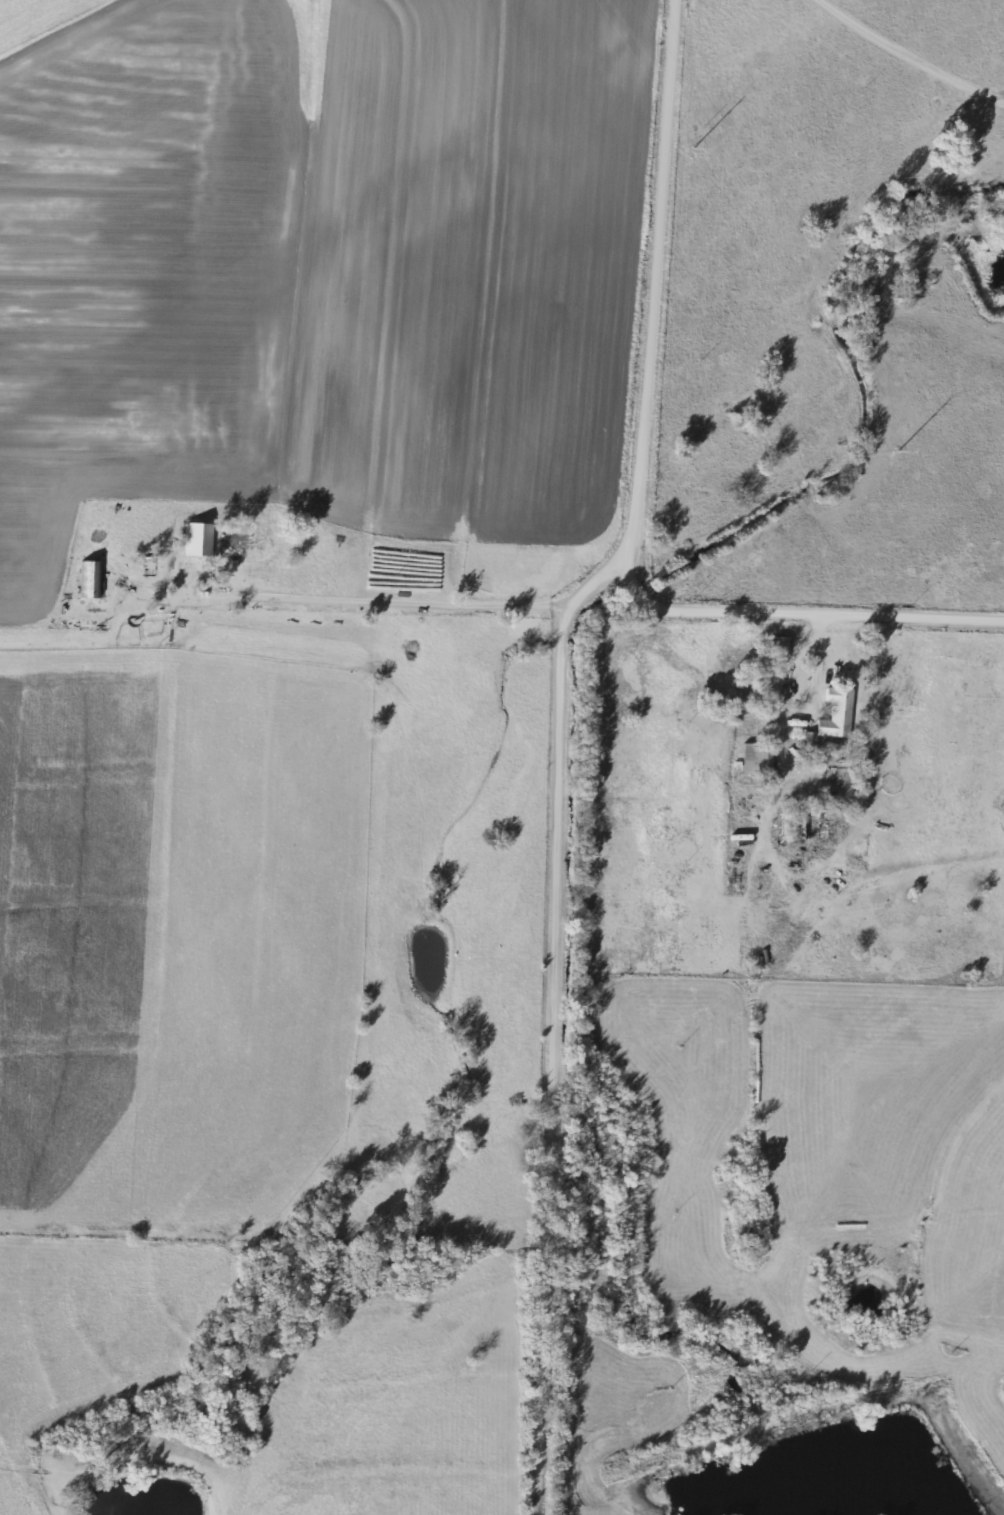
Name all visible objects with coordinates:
road: (906, 57)
road: (649, 303)
building: (108, 576)
road: (342, 602)
building: (831, 717)
road: (785, 721)
building: (761, 756)
road: (541, 823)
building: (806, 825)

